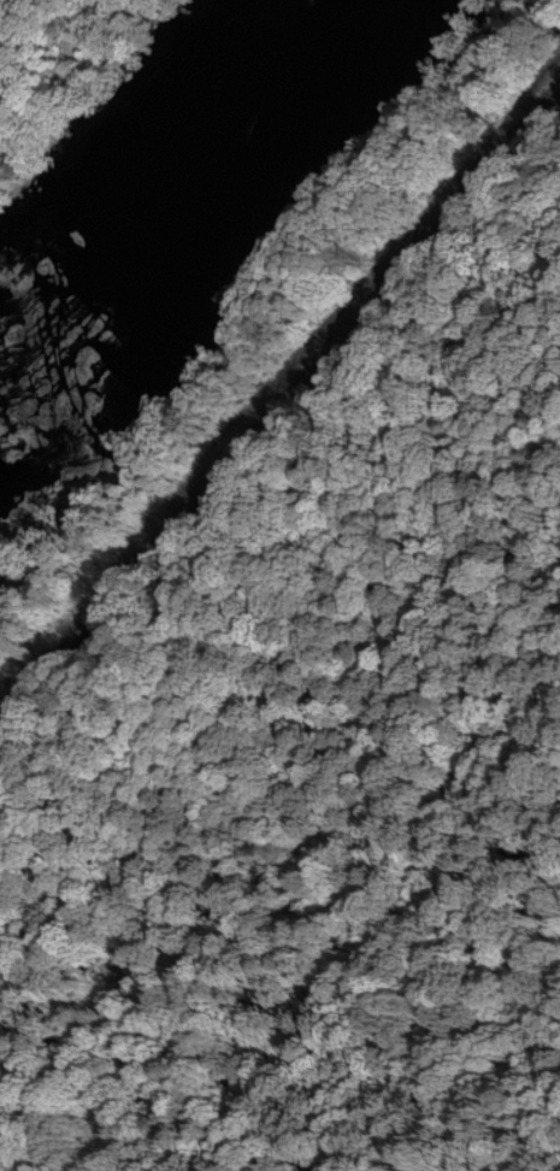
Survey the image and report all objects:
river: (158, 186)
railway: (282, 401)
railway: (282, 419)

